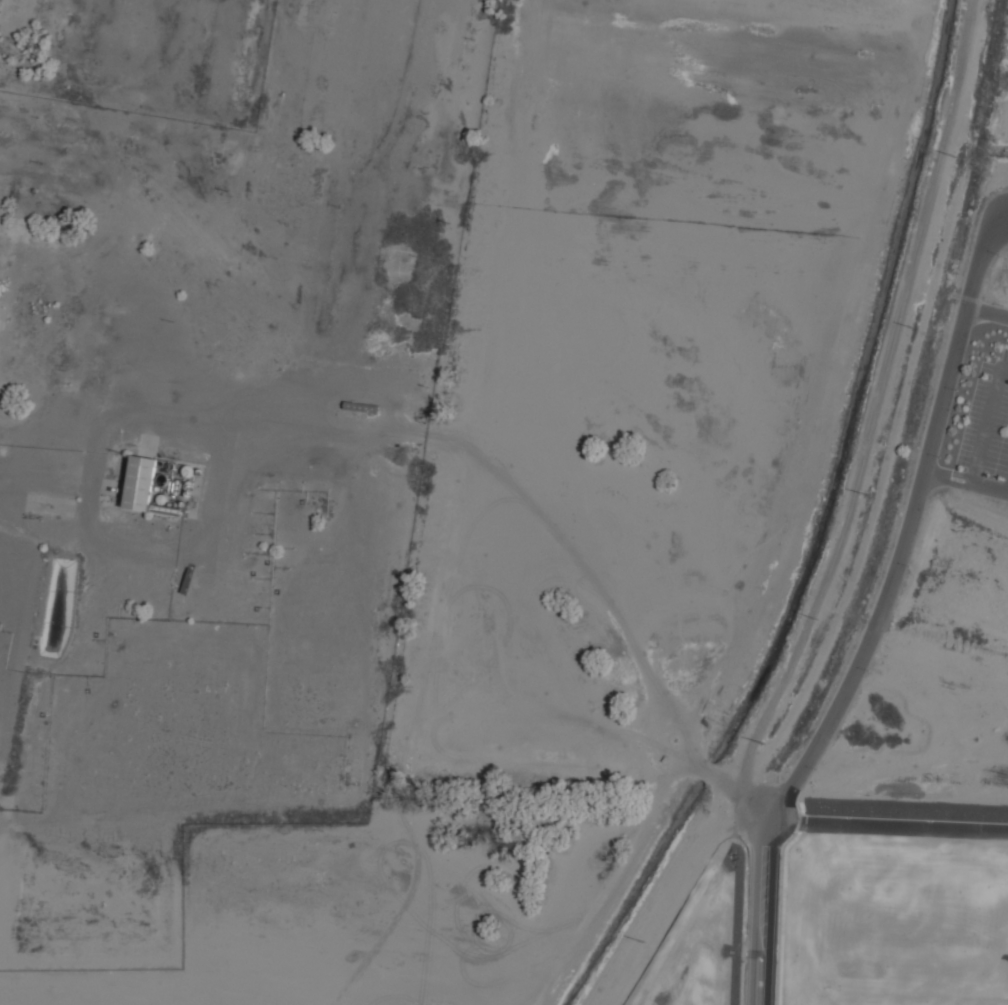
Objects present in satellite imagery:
road: (987, 312)
road: (986, 421)
road: (948, 476)
building: (137, 483)
road: (989, 487)
building: (167, 511)
road: (907, 528)
road: (885, 830)
road: (761, 915)

